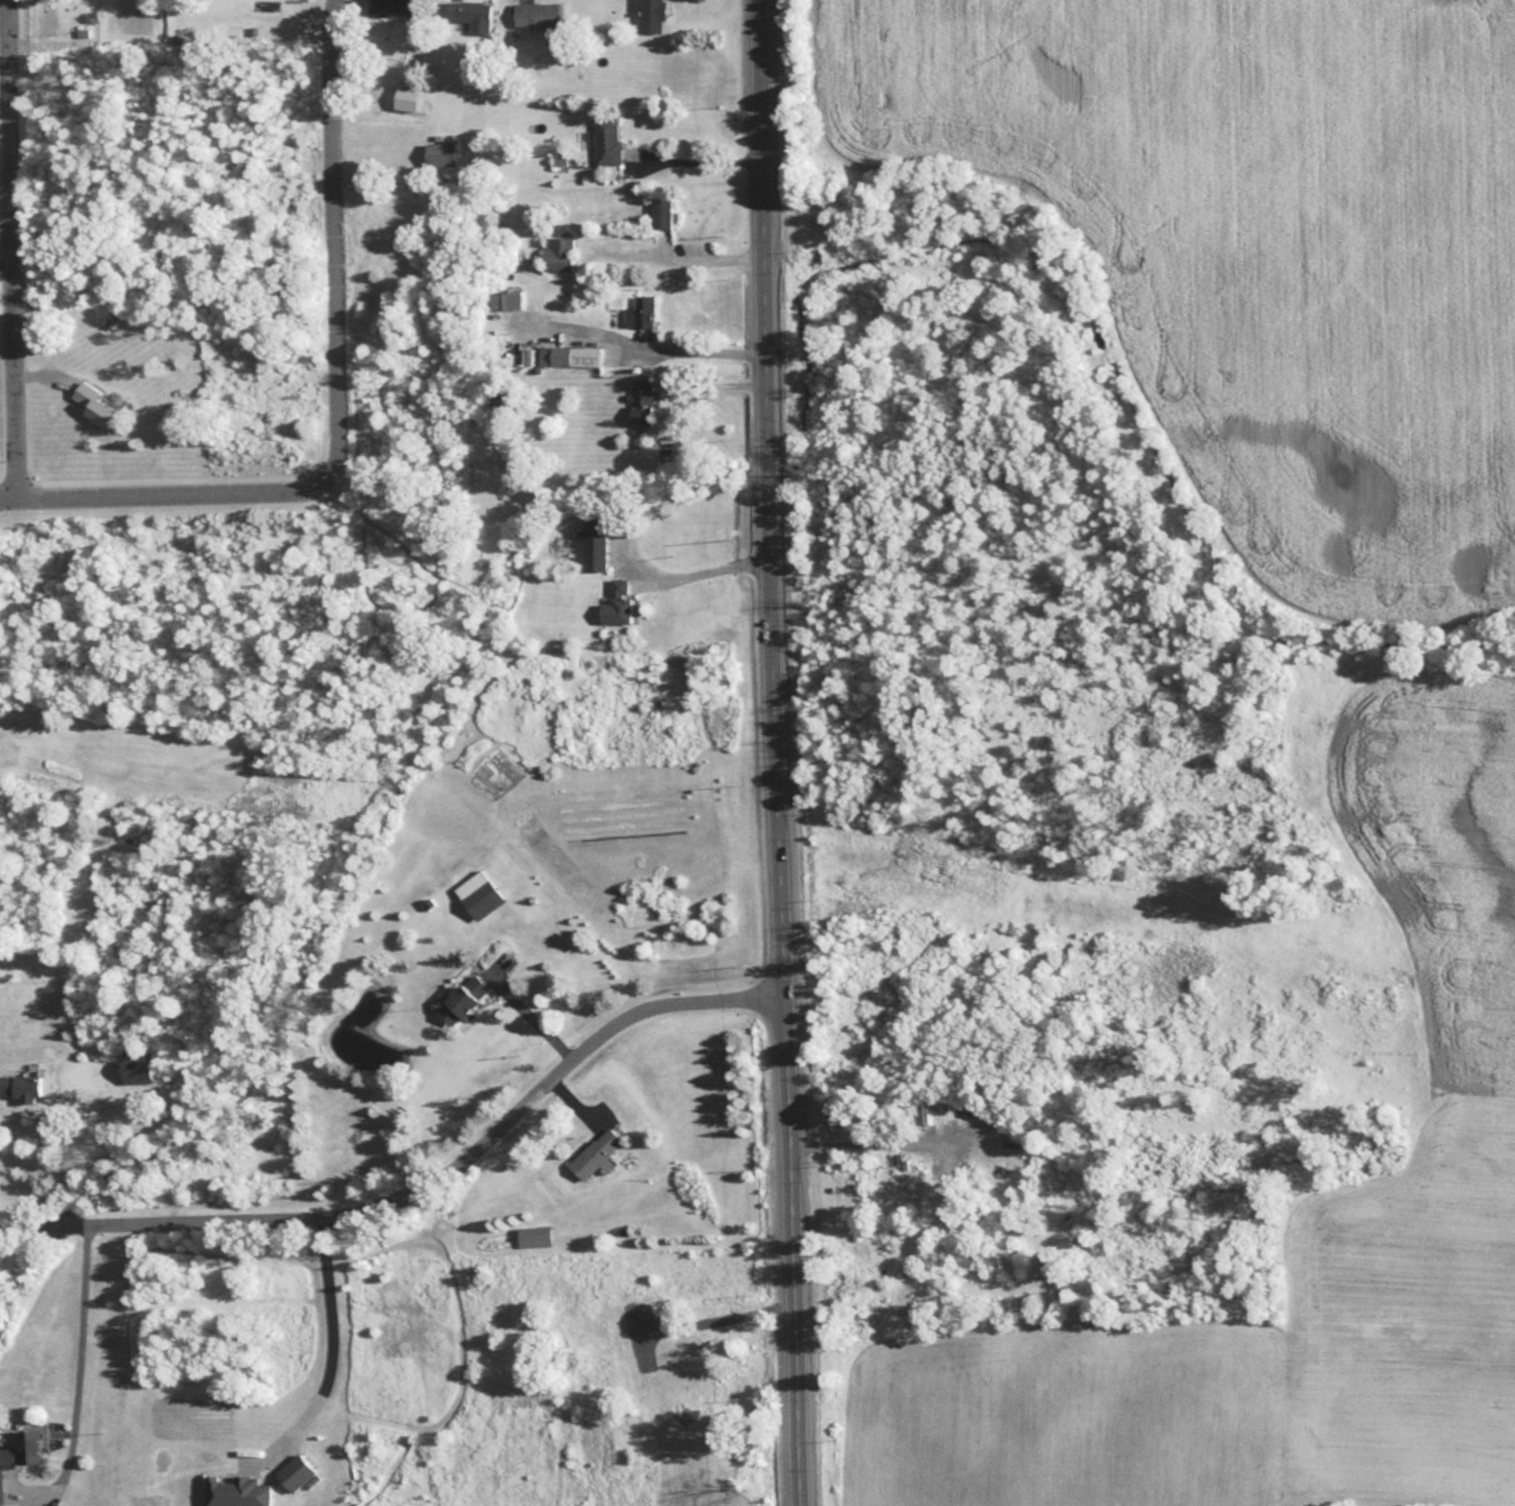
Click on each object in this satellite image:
building: (391, 7)
building: (466, 11)
building: (535, 15)
building: (649, 16)
building: (605, 139)
building: (439, 152)
road: (690, 157)
building: (659, 212)
road: (13, 246)
building: (556, 253)
road: (7, 261)
building: (506, 299)
building: (638, 312)
road: (636, 345)
building: (575, 354)
road: (343, 395)
building: (640, 397)
building: (93, 405)
building: (590, 545)
building: (616, 603)
road: (779, 753)
building: (478, 894)
building: (462, 998)
building: (136, 1072)
building: (19, 1088)
building: (593, 1154)
road: (424, 1186)
building: (534, 1236)
road: (328, 1328)
road: (74, 1352)
building: (21, 1452)
building: (294, 1473)
building: (229, 1491)

